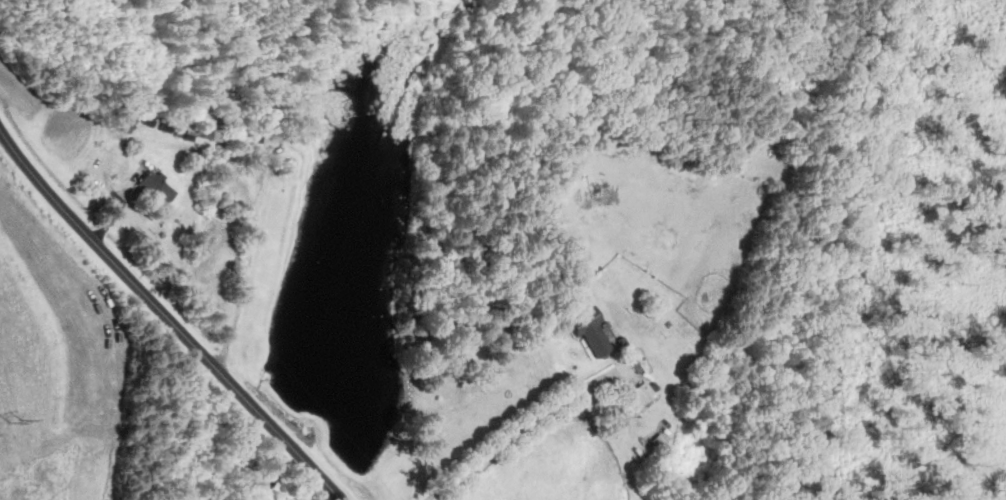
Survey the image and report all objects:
building: (158, 188)
road: (250, 252)
road: (167, 316)
building: (587, 330)
building: (638, 395)
power tower: (14, 421)
road: (519, 427)

